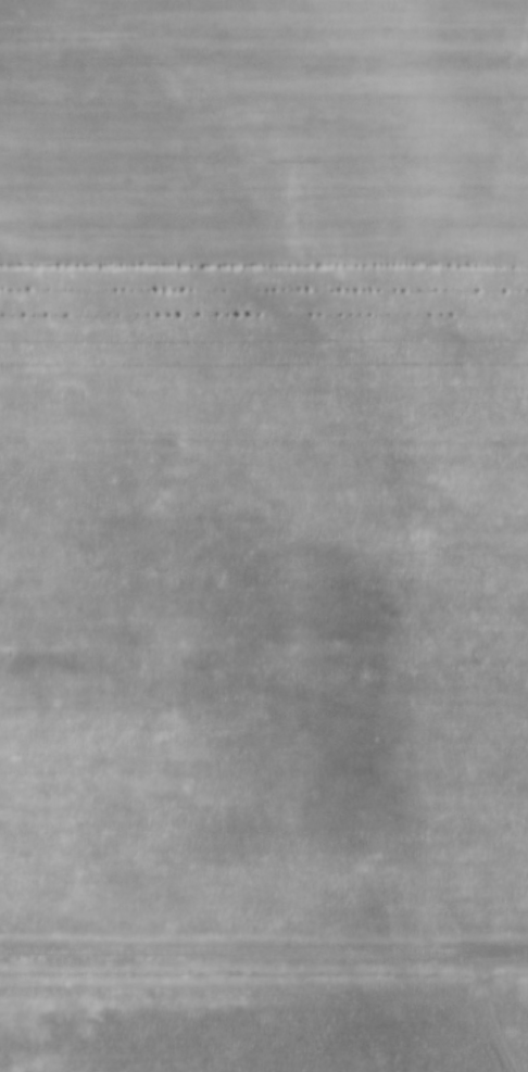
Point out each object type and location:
road: (264, 953)

